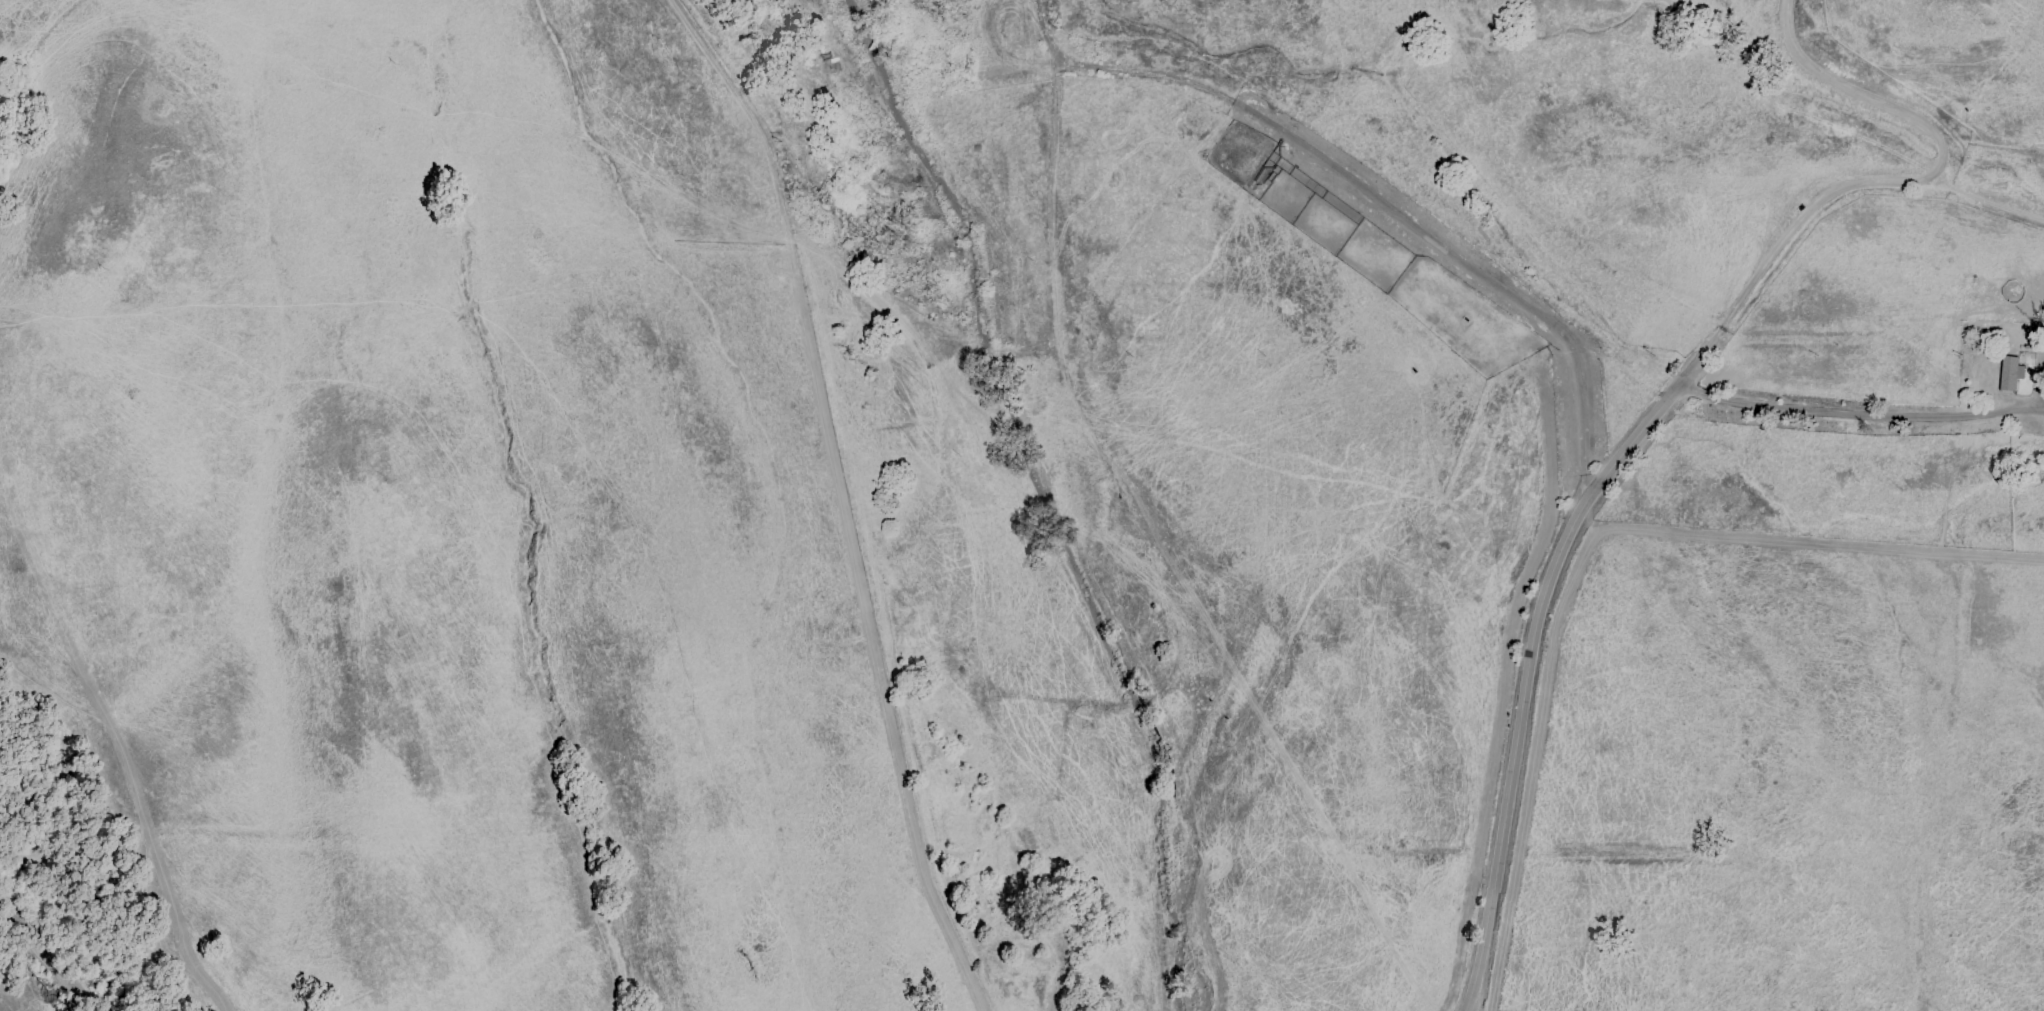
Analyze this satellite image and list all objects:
road: (1887, 182)
road: (1364, 191)
road: (1984, 201)
building: (2007, 373)
road: (1859, 413)
road: (1633, 441)
road: (1516, 747)
road: (46, 957)

